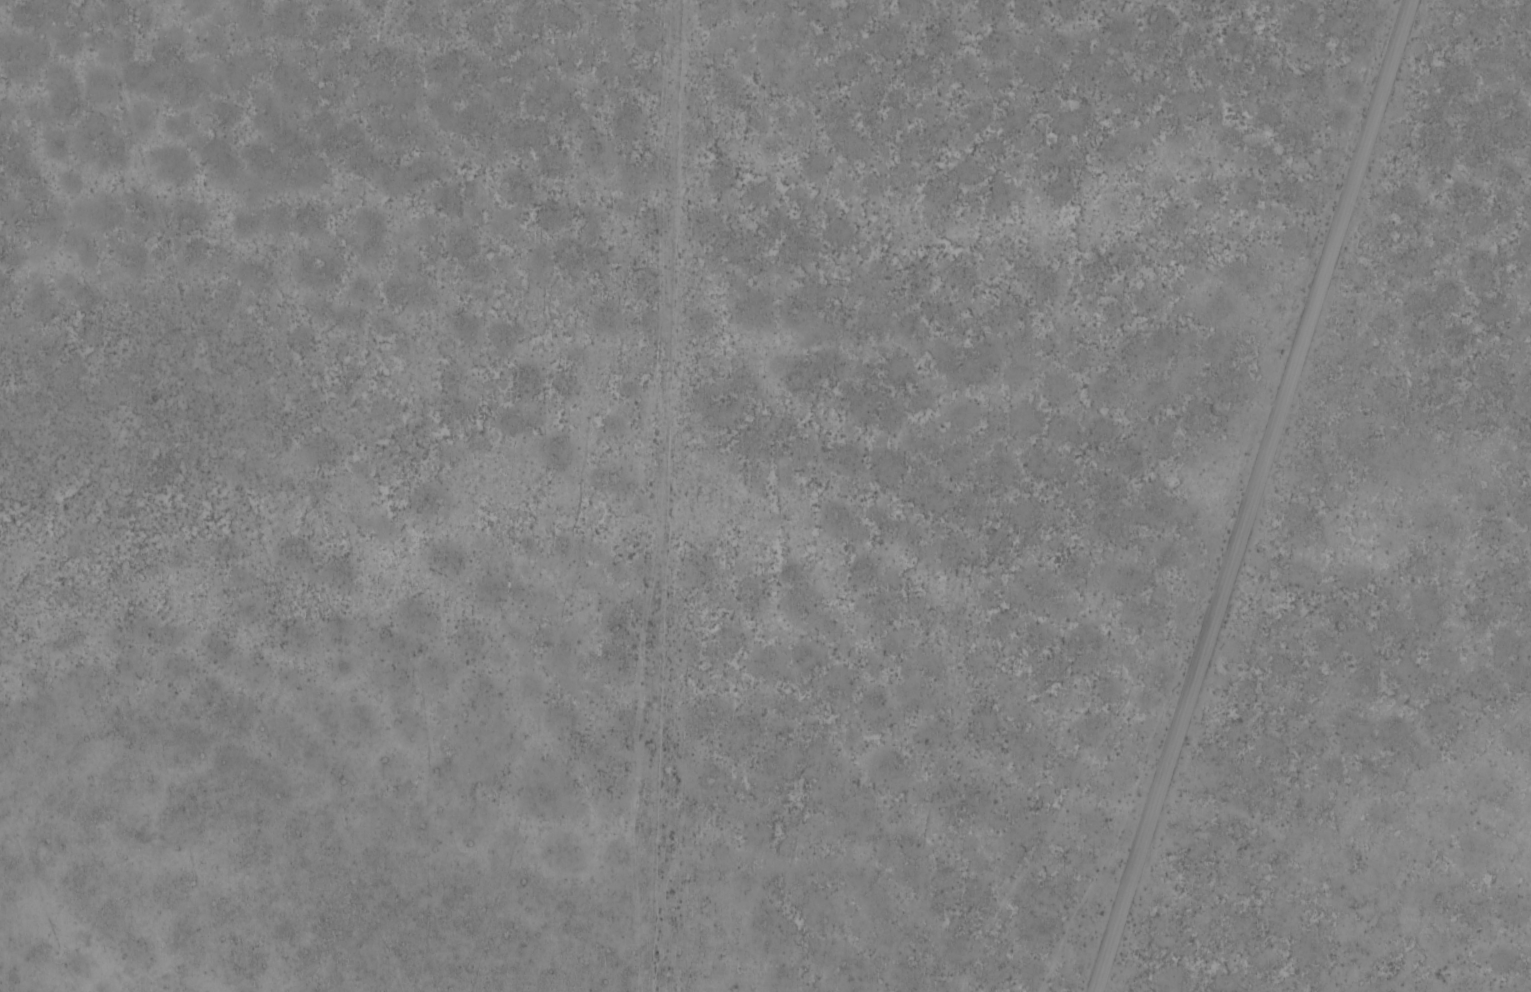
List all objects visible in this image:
road: (1254, 495)

